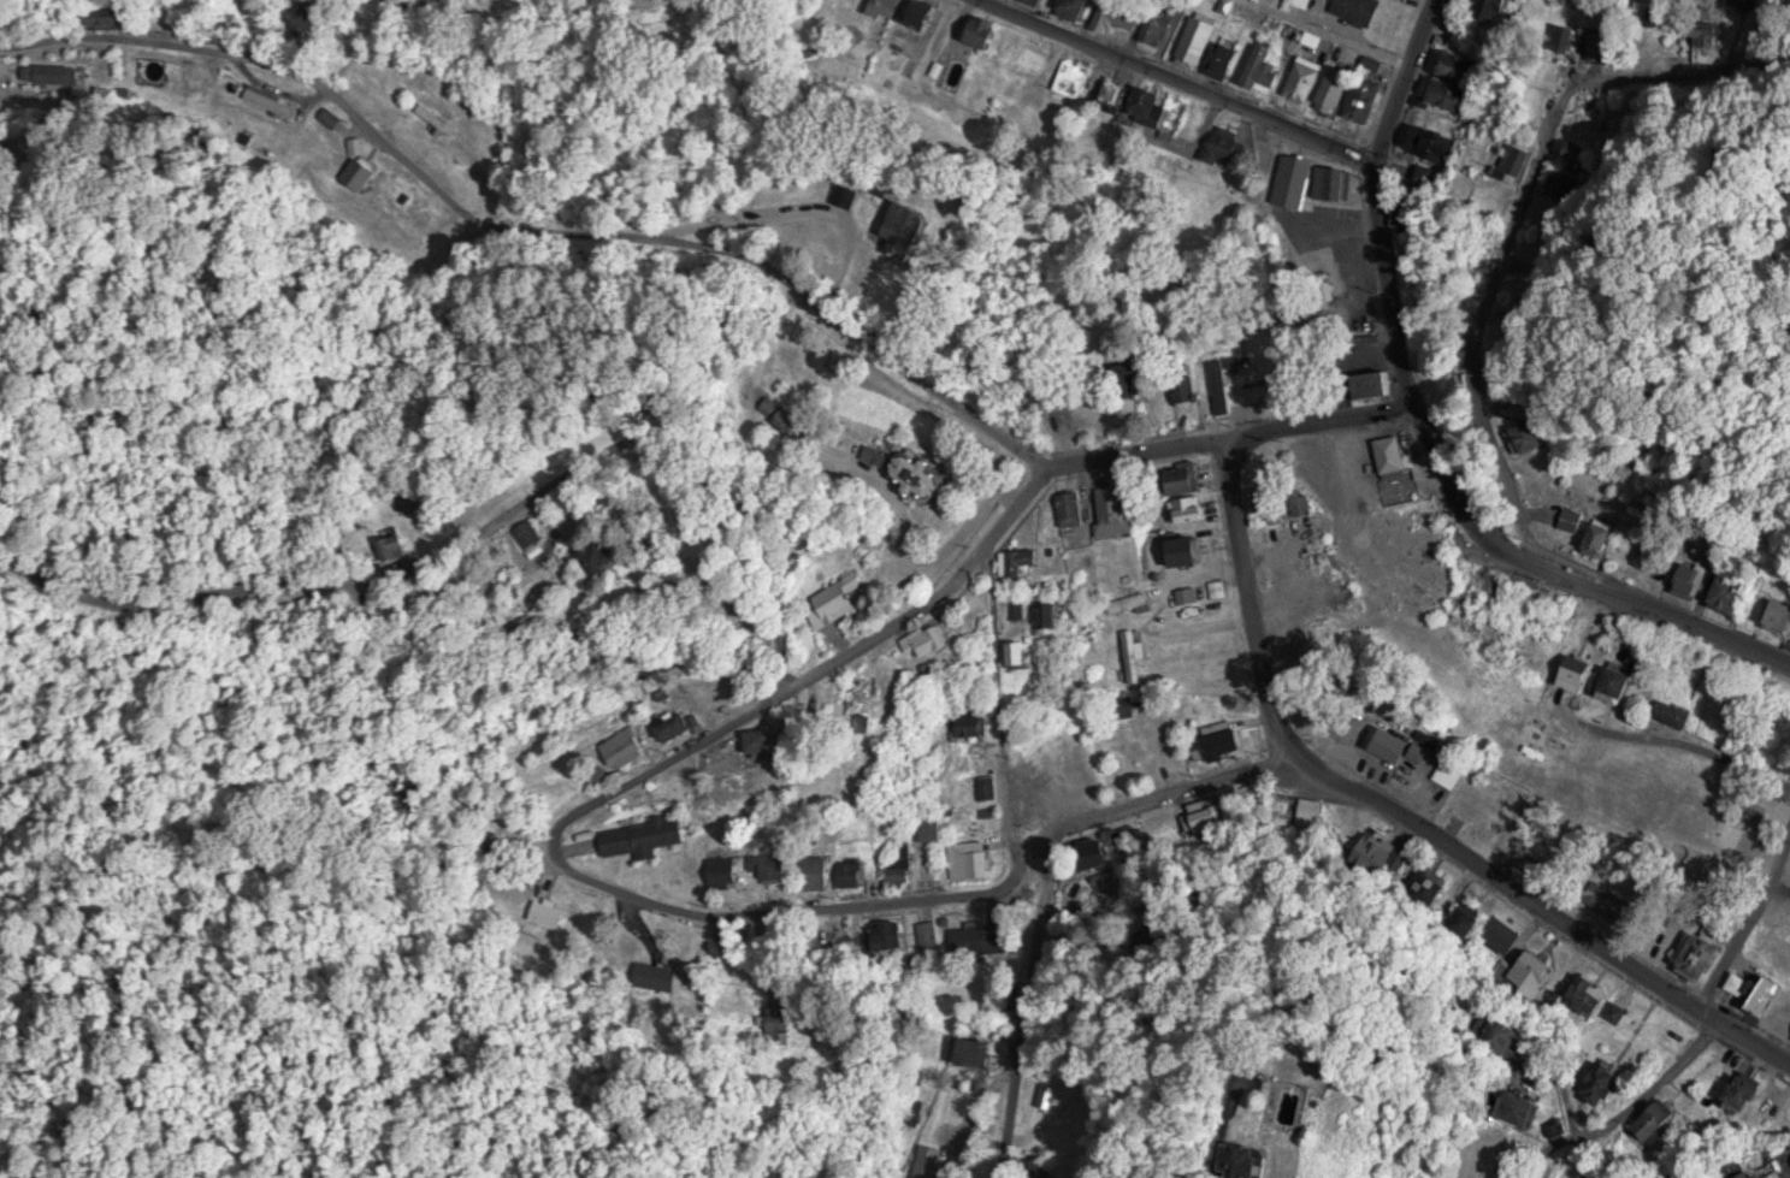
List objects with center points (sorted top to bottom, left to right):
building: (1301, 4)
building: (891, 7)
building: (1494, 8)
building: (1360, 10)
building: (931, 14)
building: (1133, 17)
building: (111, 18)
road: (1323, 31)
building: (1565, 39)
building: (1199, 40)
building: (1600, 46)
building: (1225, 60)
building: (1266, 67)
building: (1073, 77)
building: (1306, 78)
road: (1182, 82)
building: (1451, 84)
building: (1339, 89)
building: (1116, 90)
building: (273, 100)
building: (1153, 102)
building: (335, 117)
building: (439, 120)
building: (1429, 141)
building: (1225, 143)
building: (1513, 160)
building: (364, 171)
building: (1298, 179)
building: (1336, 180)
building: (852, 193)
road: (528, 226)
road: (1487, 310)
building: (1141, 383)
building: (1270, 387)
building: (1192, 390)
building: (1520, 396)
road: (1426, 431)
building: (1535, 433)
building: (885, 452)
building: (1394, 454)
building: (929, 470)
building: (1192, 475)
building: (1301, 499)
building: (1271, 501)
building: (1077, 507)
building: (1124, 508)
building: (1201, 515)
building: (1576, 519)
building: (549, 531)
road: (488, 537)
building: (1605, 537)
building: (404, 546)
building: (1193, 549)
building: (633, 554)
building: (1028, 558)
road: (965, 569)
building: (1694, 578)
building: (1732, 593)
building: (1189, 594)
building: (846, 597)
road: (1250, 599)
building: (1132, 600)
building: (1504, 605)
building: (1780, 612)
building: (1058, 615)
building: (939, 639)
building: (1030, 652)
building: (1135, 655)
building: (1581, 671)
building: (1620, 683)
building: (867, 694)
building: (1780, 695)
road: (1000, 697)
building: (1128, 708)
building: (1671, 711)
building: (807, 714)
building: (683, 723)
building: (980, 723)
road: (1676, 741)
building: (770, 742)
building: (1224, 742)
building: (630, 747)
building: (1453, 774)
building: (991, 786)
road: (1154, 795)
building: (1212, 815)
building: (933, 825)
building: (649, 835)
park: (1638, 845)
building: (1378, 851)
building: (1101, 854)
building: (971, 858)
building: (905, 864)
building: (754, 868)
building: (822, 871)
building: (856, 871)
road: (630, 890)
building: (1613, 901)
road: (863, 906)
road: (1544, 906)
building: (549, 912)
building: (1469, 914)
road: (1748, 919)
building: (928, 933)
building: (1506, 933)
building: (894, 934)
building: (975, 937)
building: (1708, 951)
building: (1537, 971)
building: (660, 975)
building: (1777, 990)
building: (1589, 994)
road: (1005, 1011)
building: (787, 1025)
building: (1516, 1035)
building: (979, 1050)
building: (1750, 1089)
road: (1625, 1094)
building: (1536, 1107)
building: (1655, 1120)
building: (1271, 1160)
building: (928, 1161)
building: (1770, 1174)

